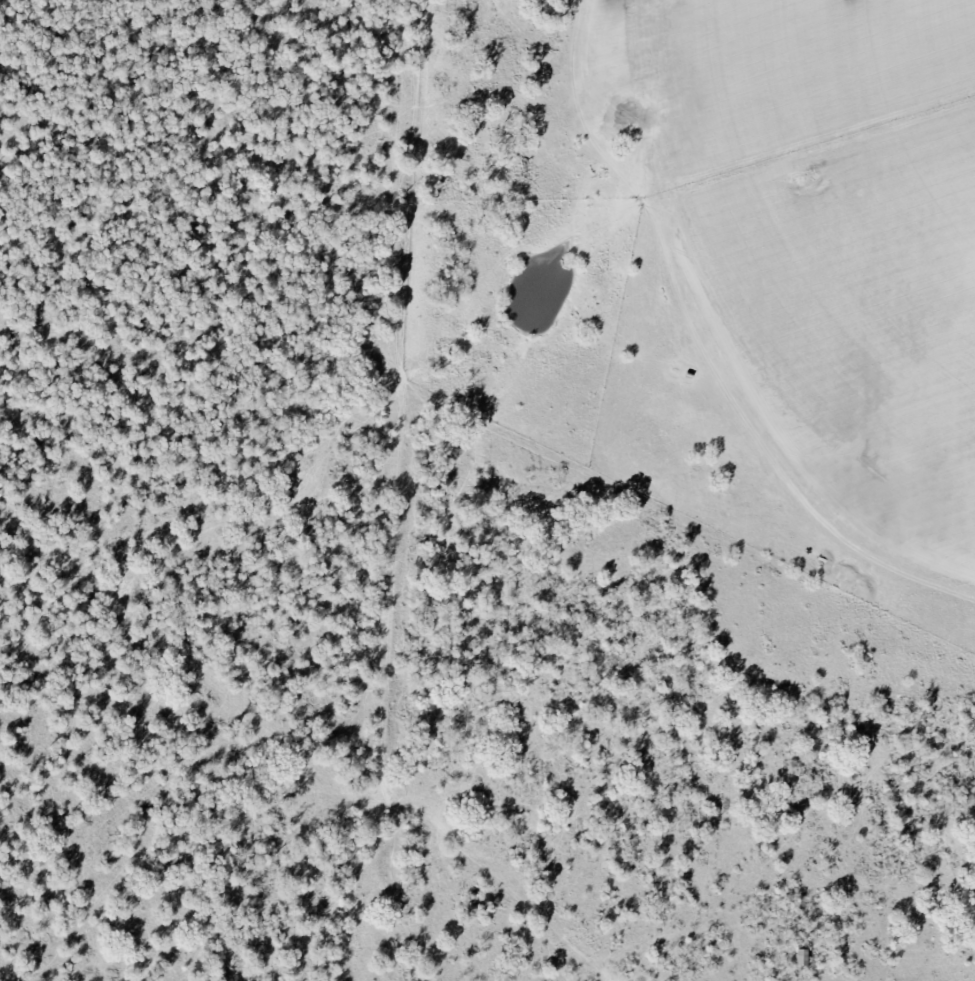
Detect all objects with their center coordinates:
road: (844, 972)

